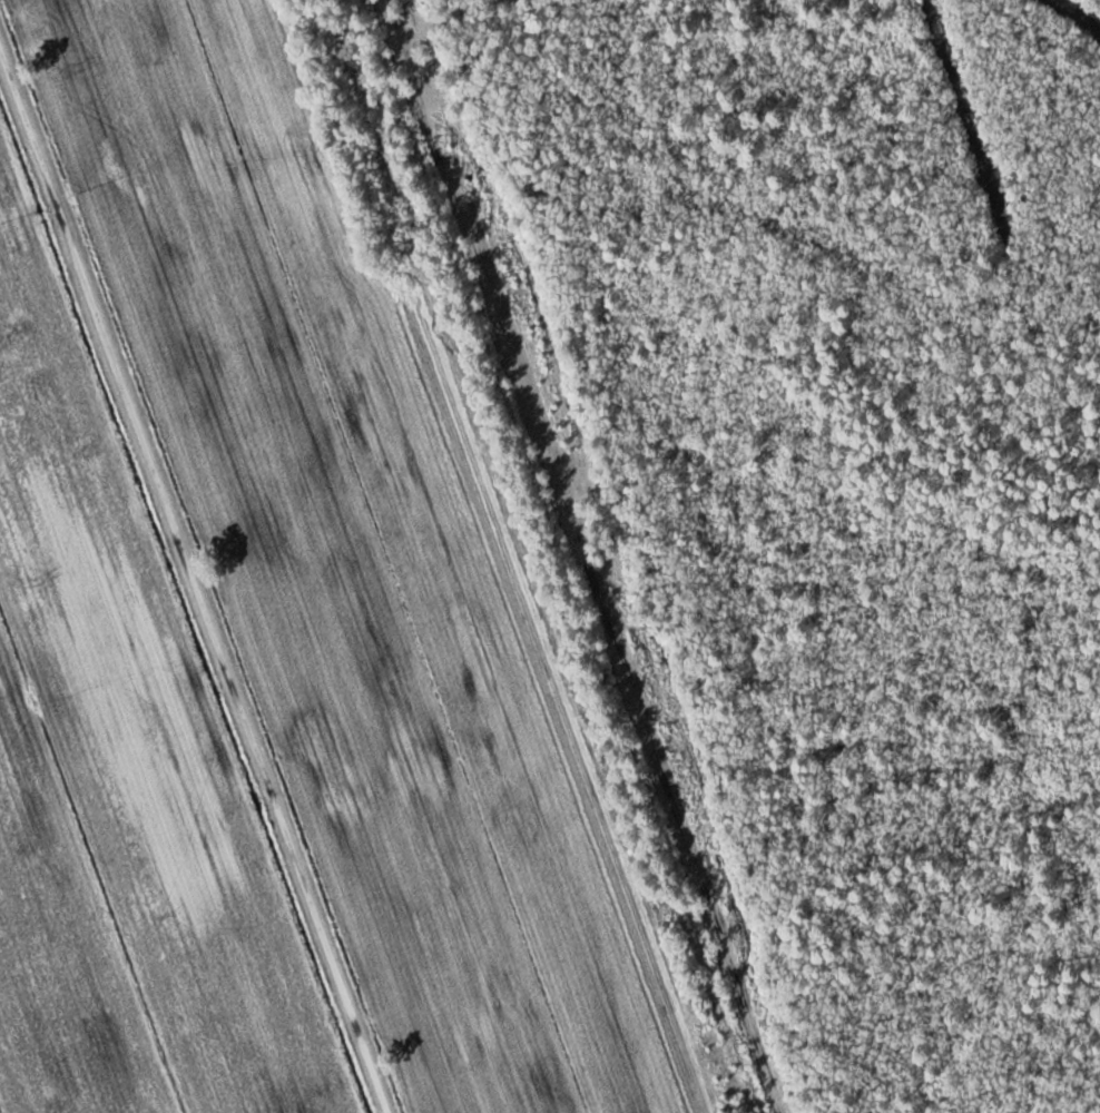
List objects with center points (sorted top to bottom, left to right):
road: (209, 560)

